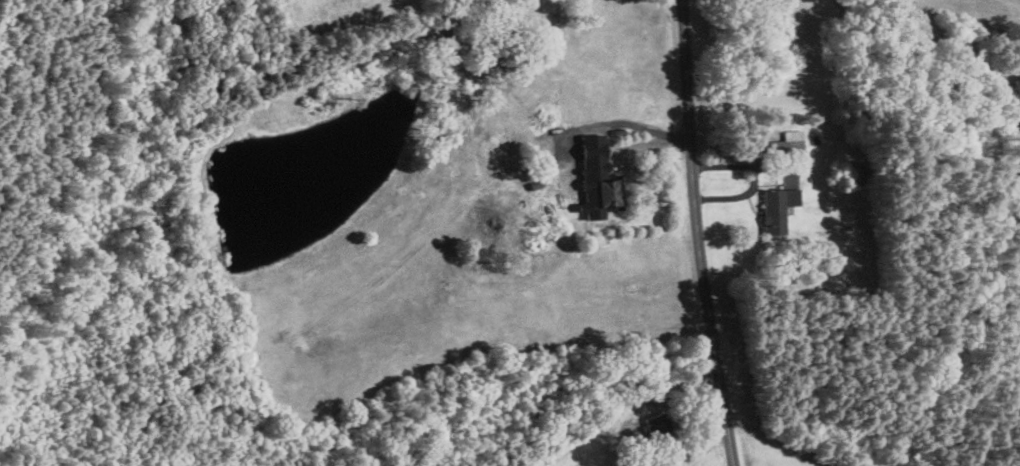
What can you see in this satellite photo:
road: (637, 144)
building: (788, 144)
road: (753, 178)
building: (605, 193)
building: (778, 208)
road: (697, 234)
building: (658, 426)
road: (692, 442)

